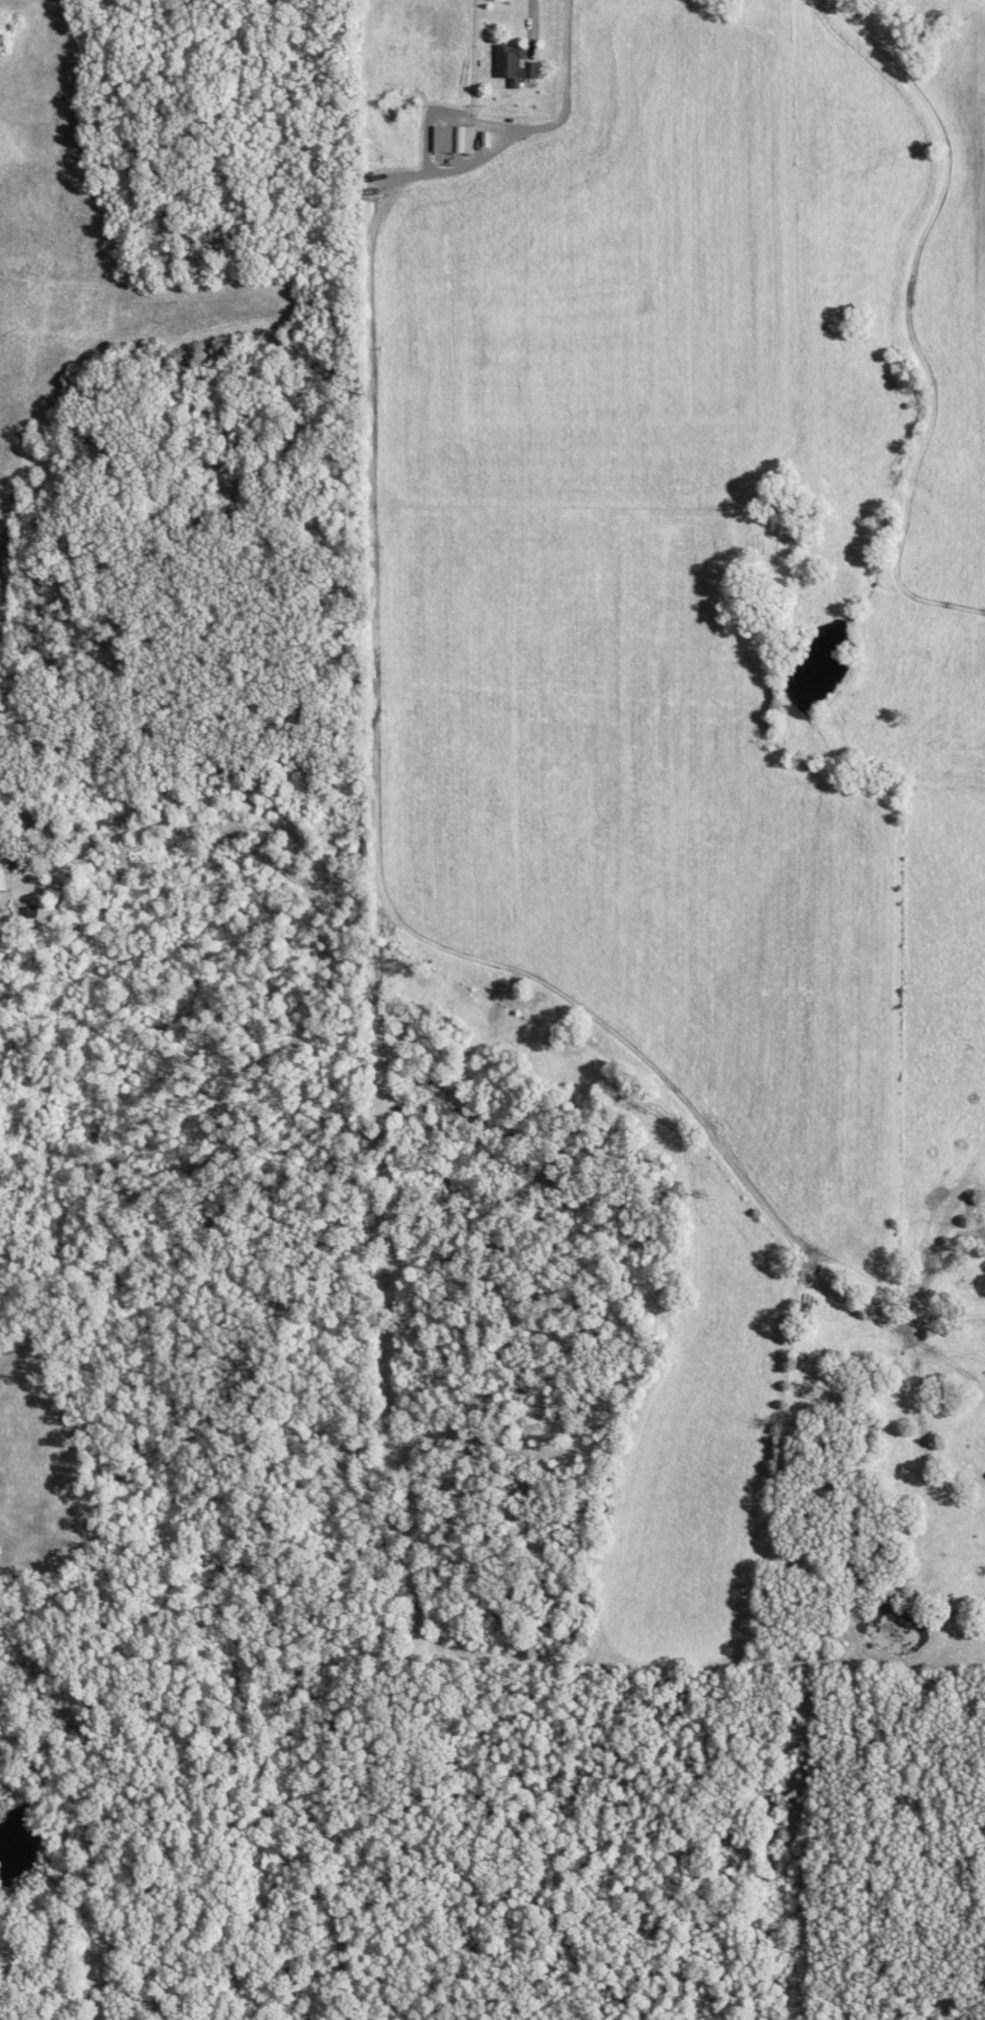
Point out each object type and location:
road: (533, 20)
building: (521, 67)
road: (568, 94)
building: (459, 140)
building: (5, 871)

